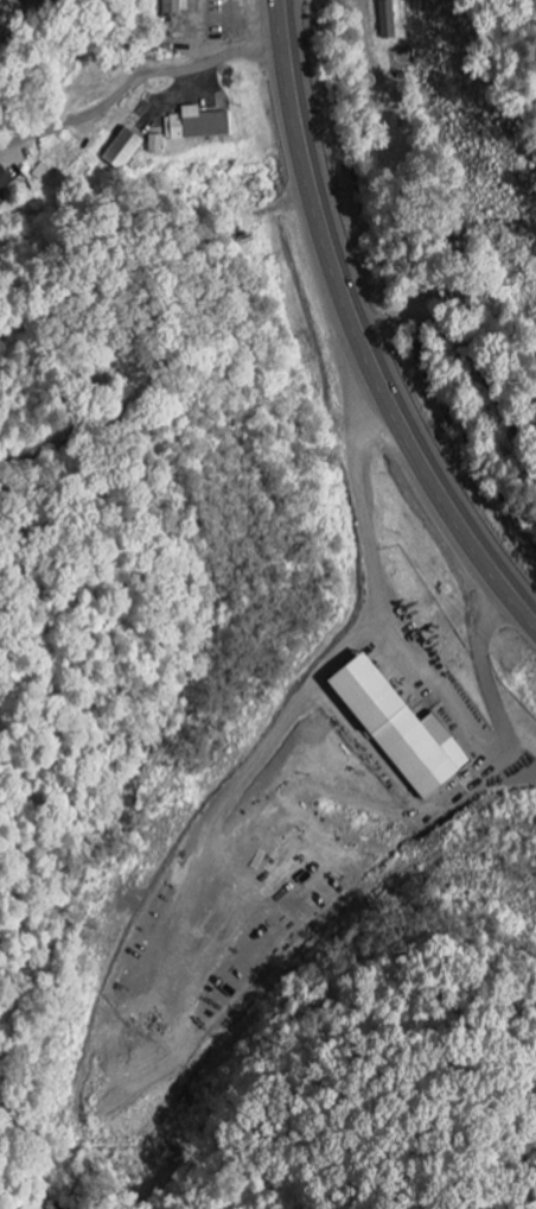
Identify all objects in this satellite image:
building: (173, 7)
building: (384, 20)
road: (138, 76)
building: (196, 126)
building: (122, 151)
building: (4, 181)
road: (362, 328)
building: (395, 730)

